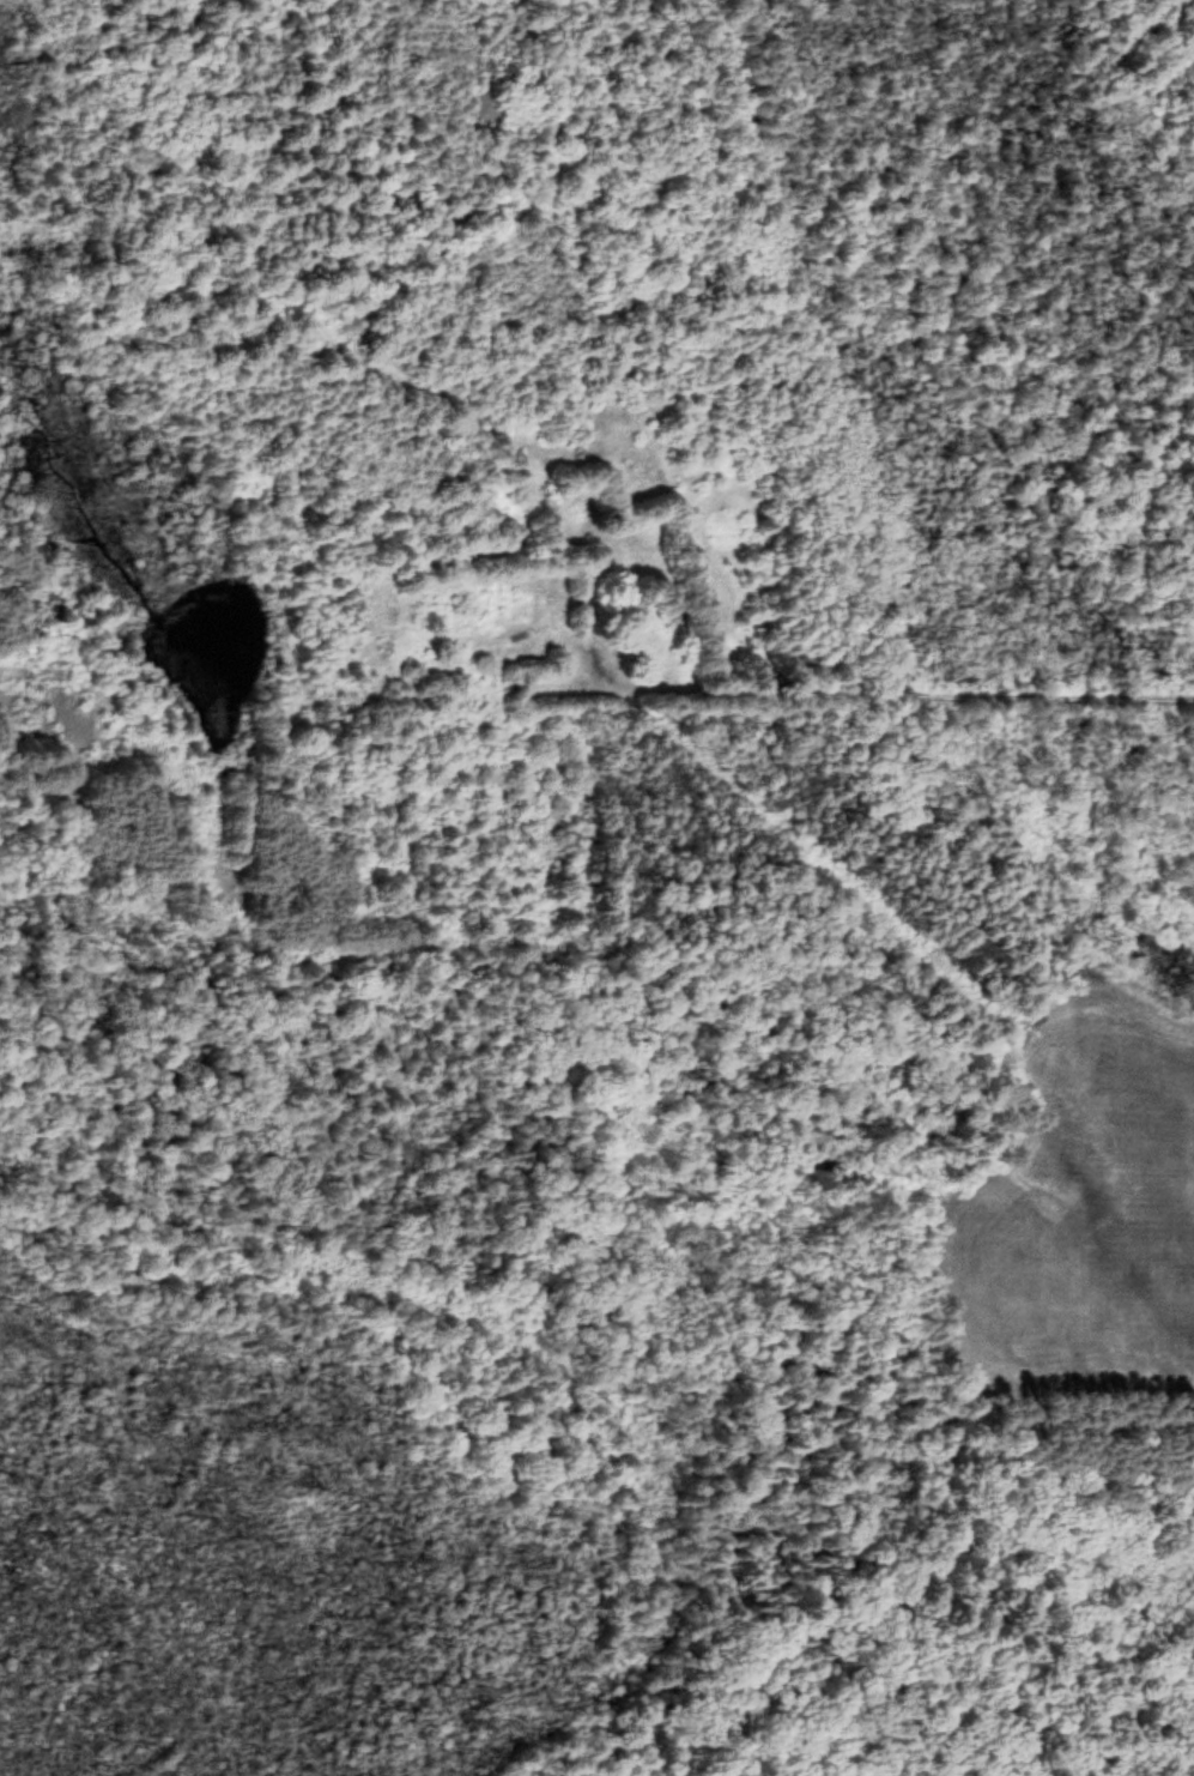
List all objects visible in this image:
road: (914, 696)
park: (479, 732)

